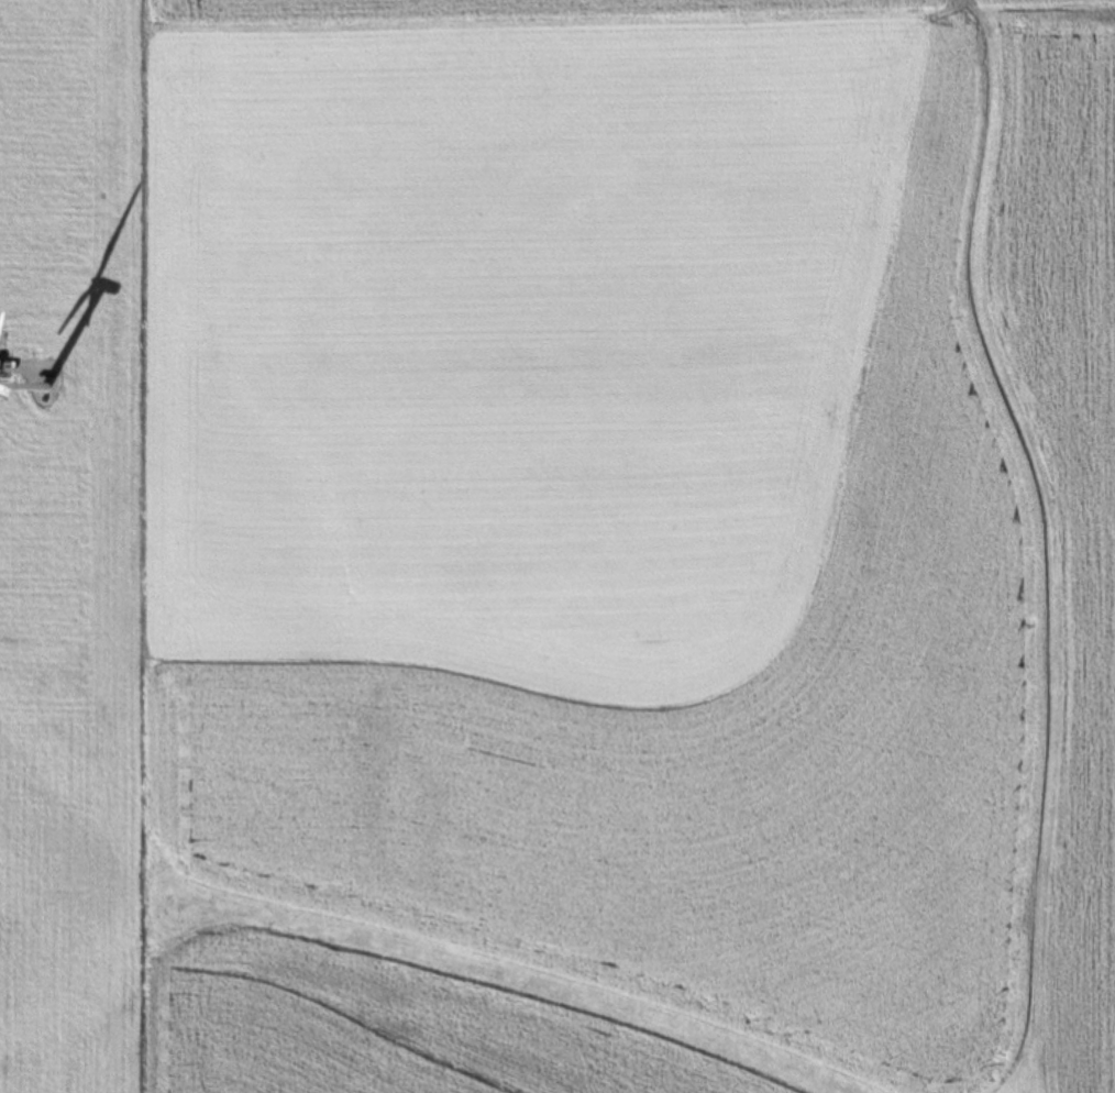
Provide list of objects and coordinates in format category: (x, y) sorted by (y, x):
building: (14, 372)
road: (26, 372)
wind turbine: (48, 399)

